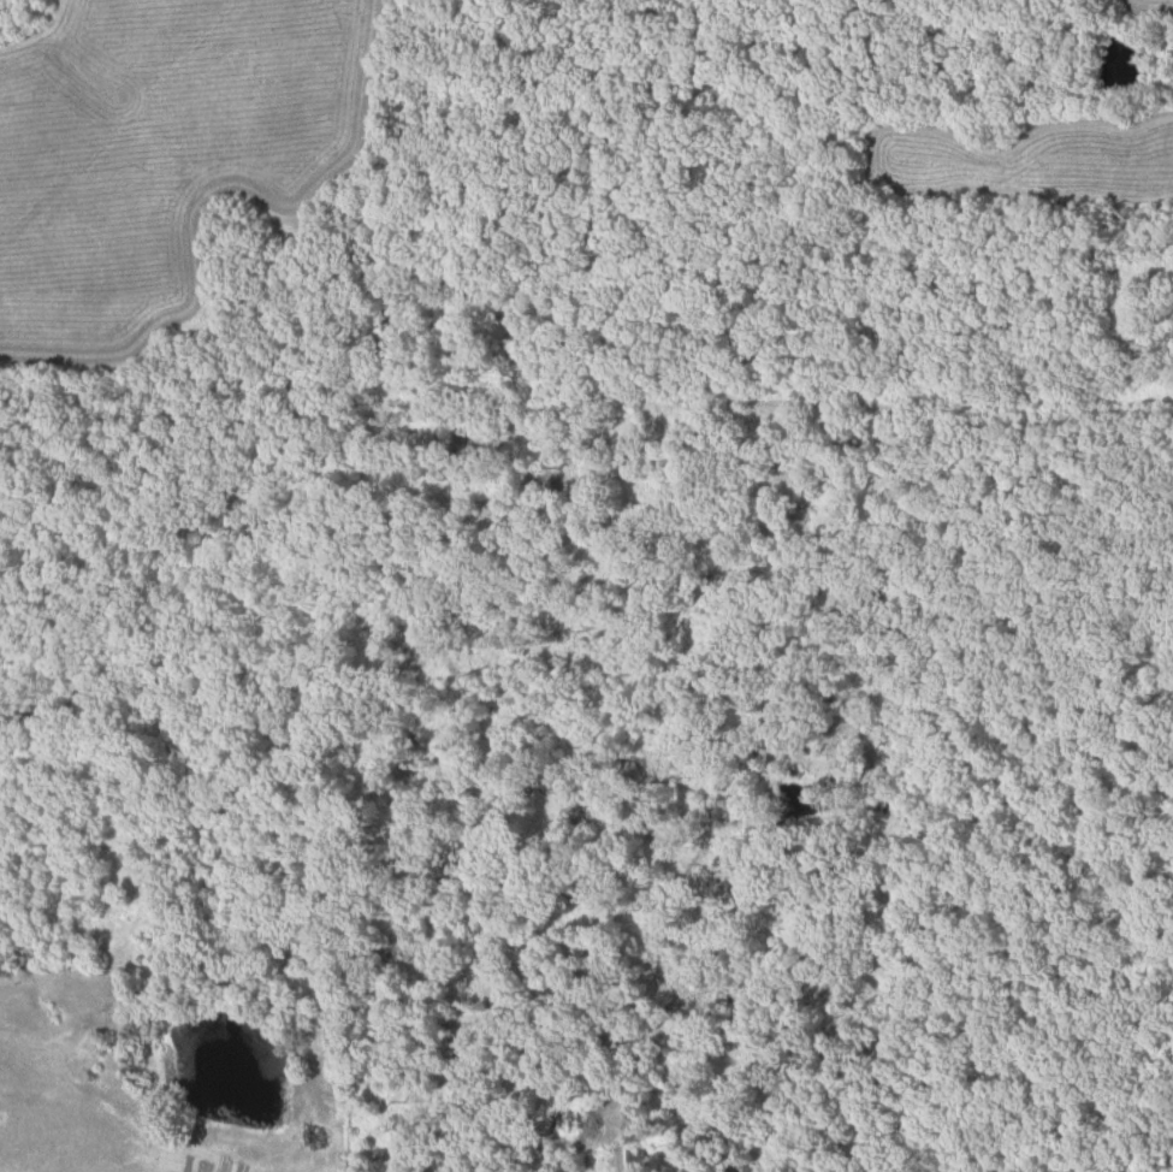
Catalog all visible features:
building: (641, 1160)

